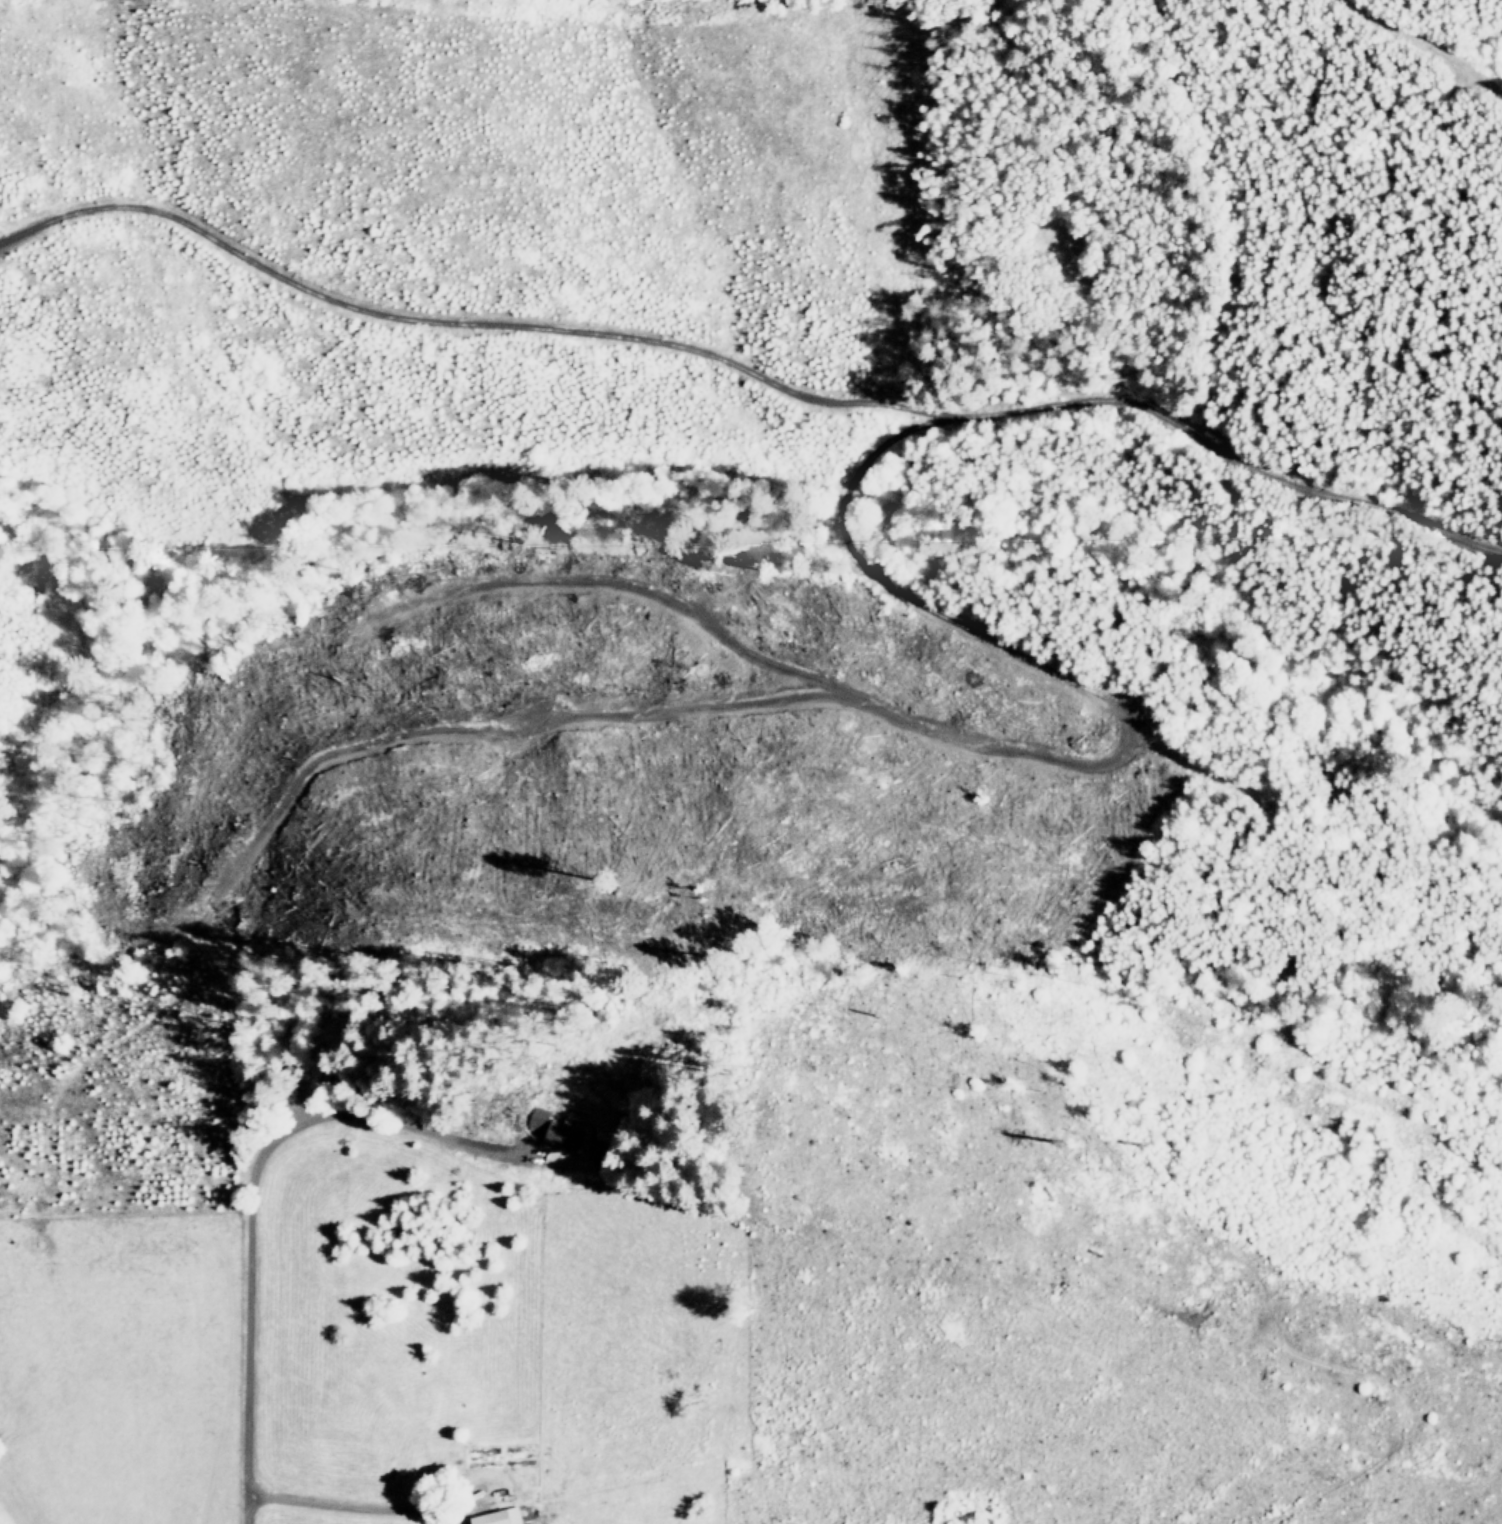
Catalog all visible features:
road: (1428, 42)
building: (551, 1129)
road: (253, 1196)
road: (352, 1504)
building: (499, 1517)

